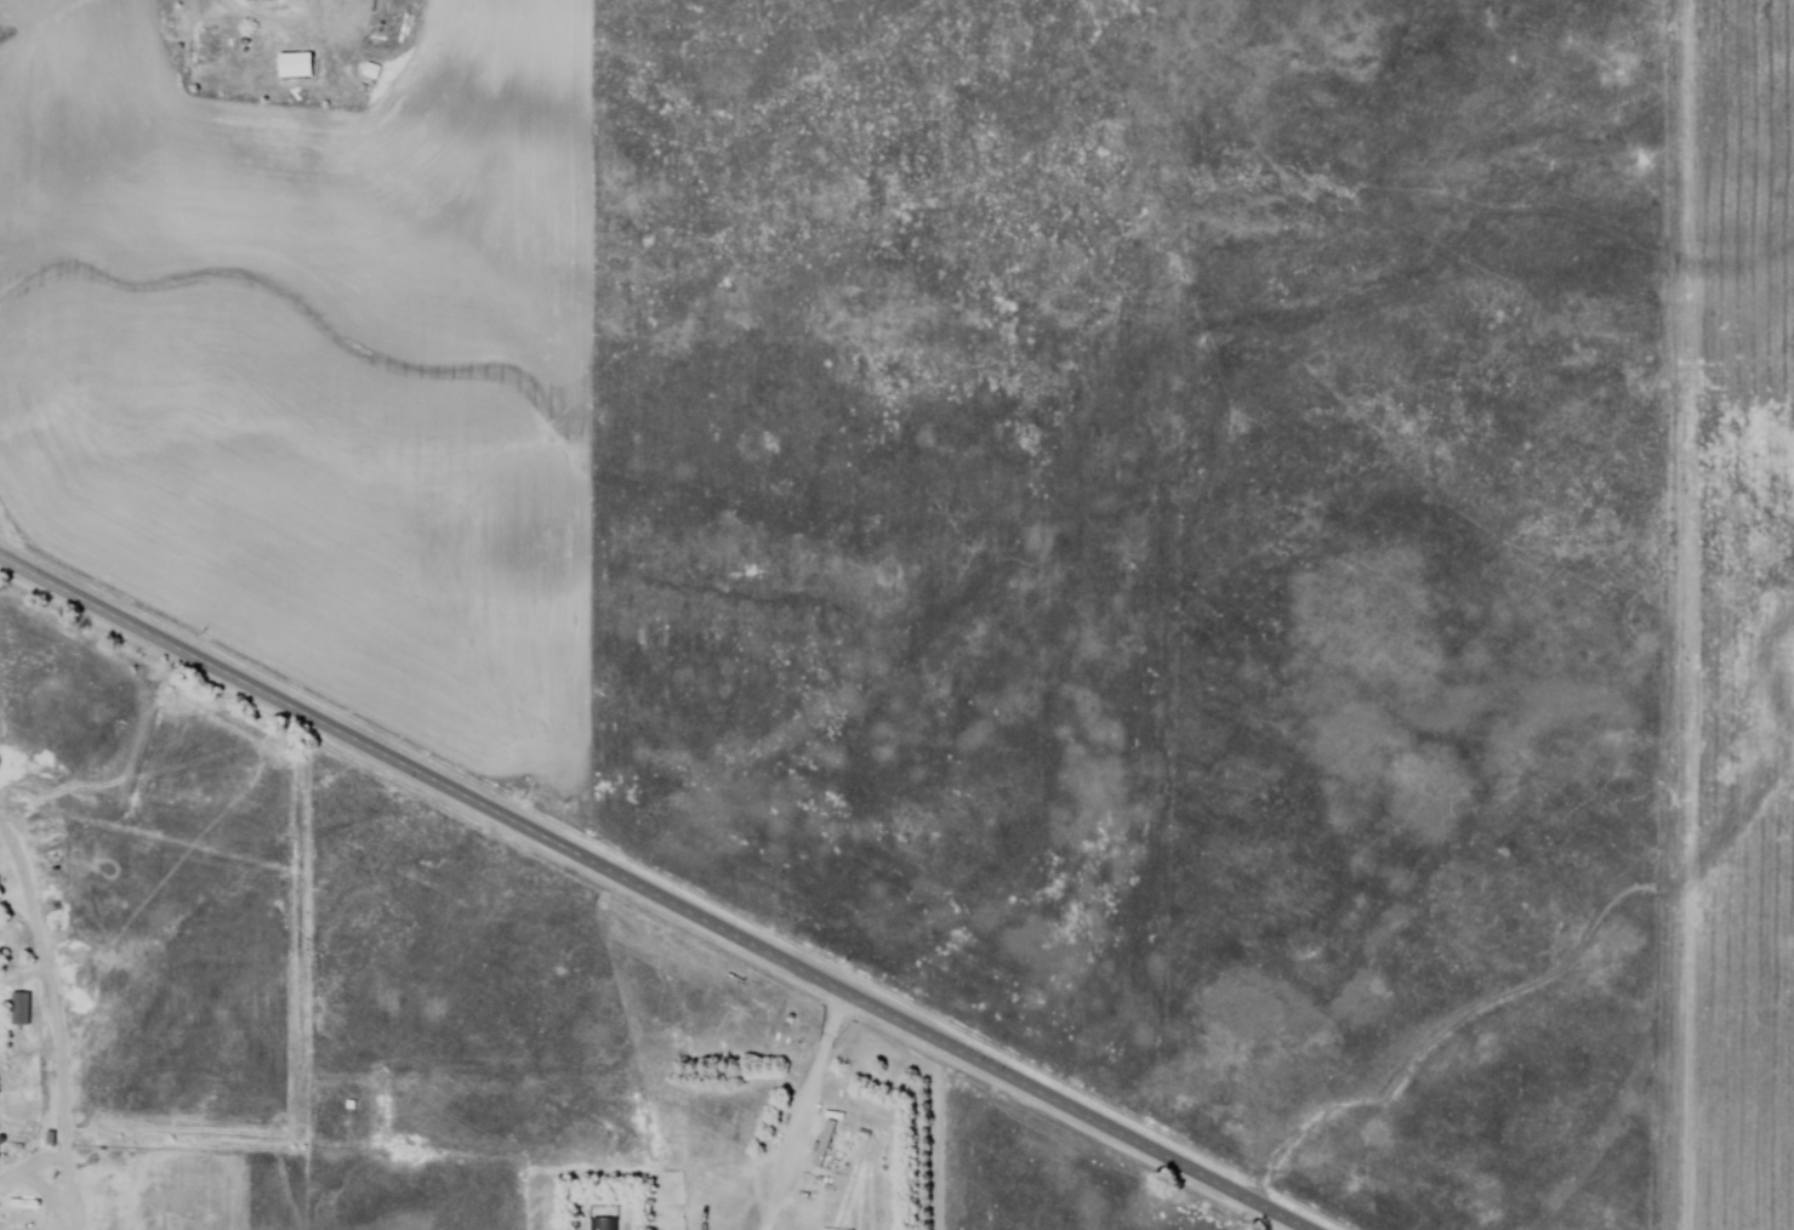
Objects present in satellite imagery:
building: (298, 68)
road: (654, 892)
building: (0, 1006)
road: (805, 1110)
building: (820, 1144)
building: (606, 1224)

